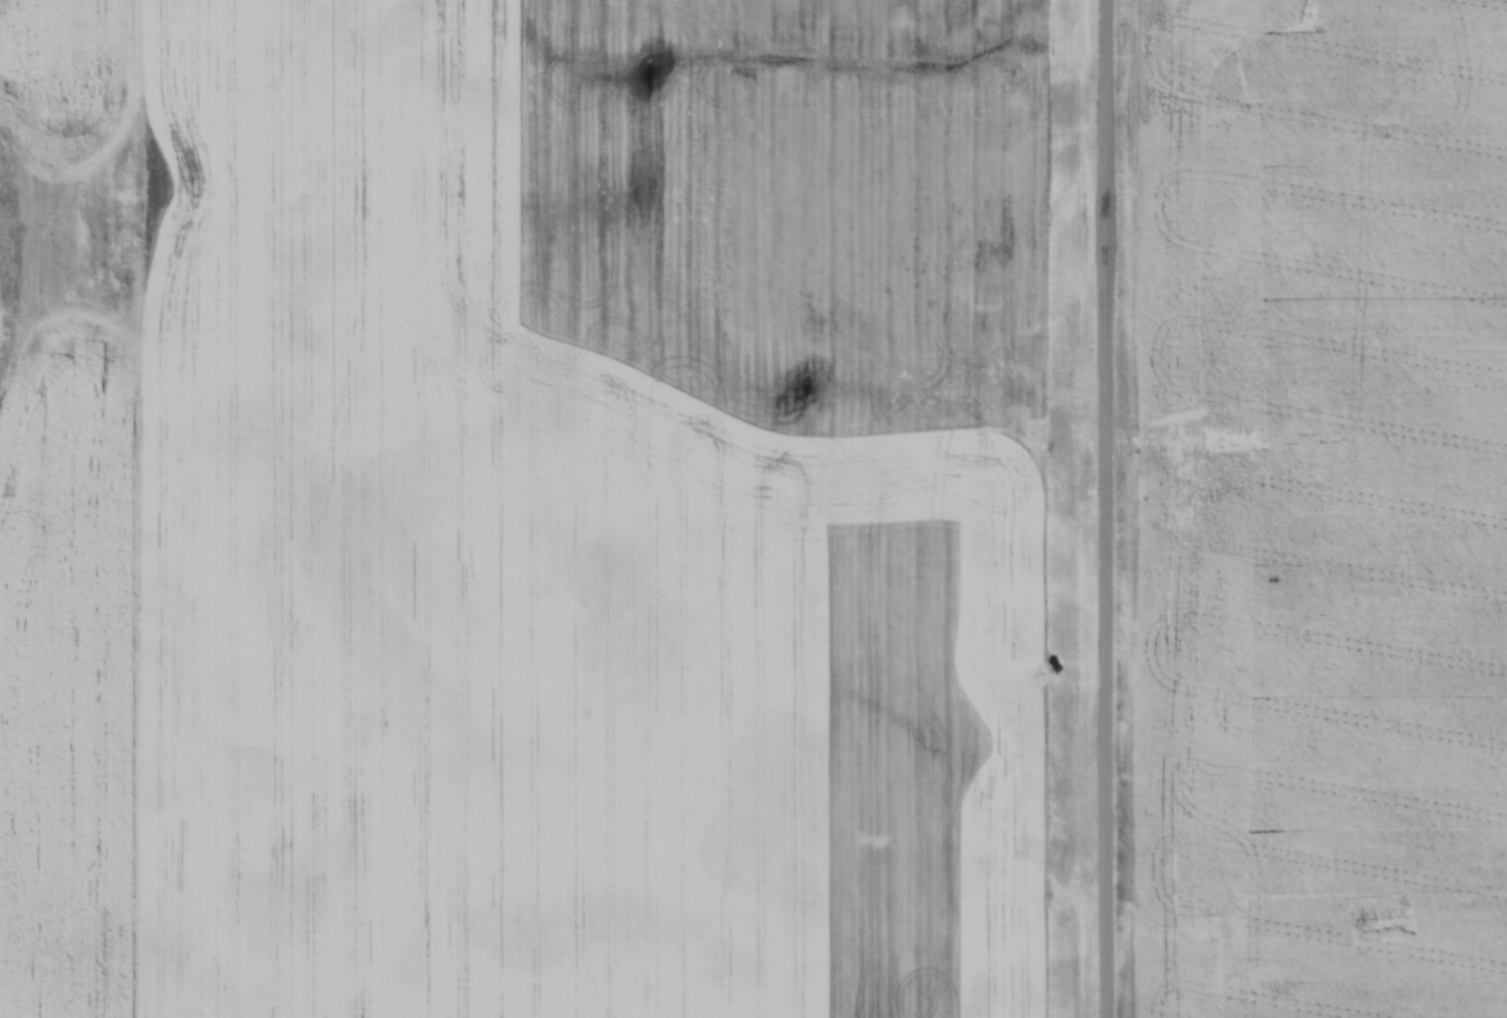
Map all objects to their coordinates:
road: (1112, 508)

